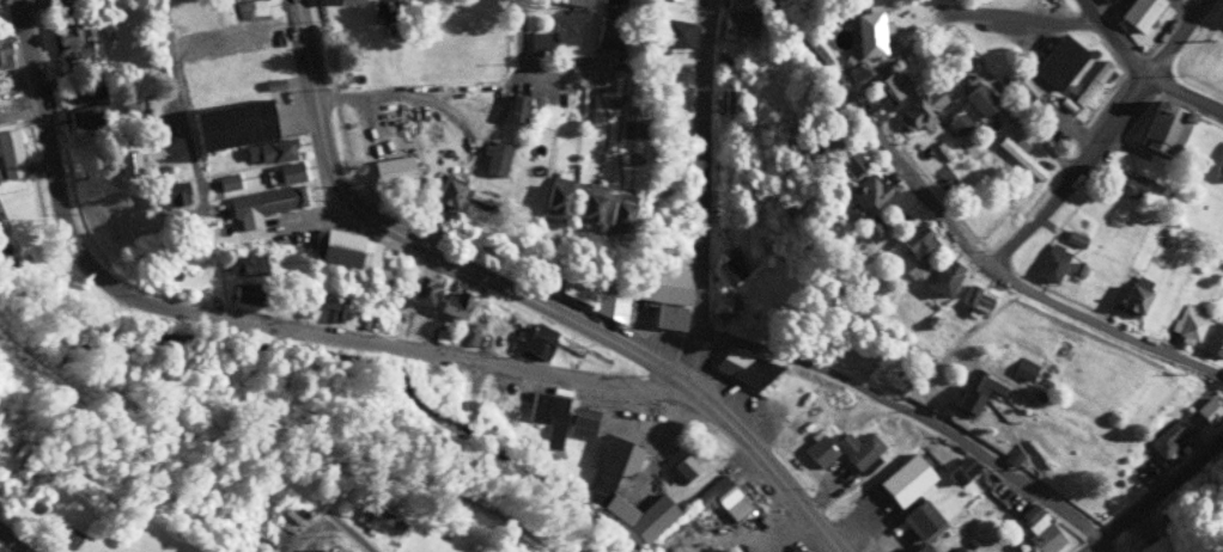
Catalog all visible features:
building: (1108, 0)
building: (349, 1)
building: (611, 1)
building: (690, 1)
building: (1139, 13)
building: (738, 26)
building: (609, 27)
building: (869, 33)
building: (69, 42)
building: (540, 43)
building: (254, 45)
road: (524, 45)
building: (189, 47)
building: (4, 53)
building: (1058, 61)
road: (1144, 70)
building: (1090, 81)
building: (675, 84)
building: (888, 88)
road: (466, 94)
building: (1027, 96)
building: (978, 98)
building: (728, 99)
building: (85, 102)
road: (181, 104)
building: (515, 109)
building: (920, 109)
building: (956, 119)
building: (231, 124)
building: (629, 124)
building: (1162, 125)
road: (1105, 135)
building: (828, 137)
building: (275, 149)
building: (10, 153)
building: (494, 158)
building: (124, 160)
building: (850, 160)
building: (1218, 167)
building: (391, 168)
building: (284, 172)
building: (226, 180)
building: (1126, 184)
building: (866, 190)
building: (171, 191)
building: (445, 191)
road: (708, 194)
building: (554, 195)
building: (588, 201)
building: (261, 203)
building: (619, 211)
building: (866, 228)
road: (956, 233)
building: (334, 245)
road: (422, 245)
building: (915, 246)
building: (245, 262)
building: (377, 262)
building: (1049, 263)
building: (726, 268)
building: (942, 275)
building: (577, 287)
building: (420, 292)
building: (663, 293)
building: (1132, 294)
building: (245, 296)
building: (975, 298)
building: (330, 305)
building: (450, 305)
building: (724, 305)
road: (263, 314)
building: (1188, 321)
building: (537, 339)
building: (1213, 339)
building: (741, 367)
building: (1022, 368)
building: (974, 391)
road: (937, 406)
building: (544, 421)
building: (799, 422)
railway: (274, 437)
building: (1163, 441)
building: (859, 447)
building: (819, 449)
road: (766, 462)
building: (965, 466)
building: (604, 467)
building: (903, 479)
road: (1150, 489)
building: (720, 497)
building: (918, 517)
building: (373, 519)
building: (1039, 529)
road: (305, 532)
road: (349, 532)
road: (12, 540)
building: (1152, 545)
building: (917, 548)
building: (317, 550)

